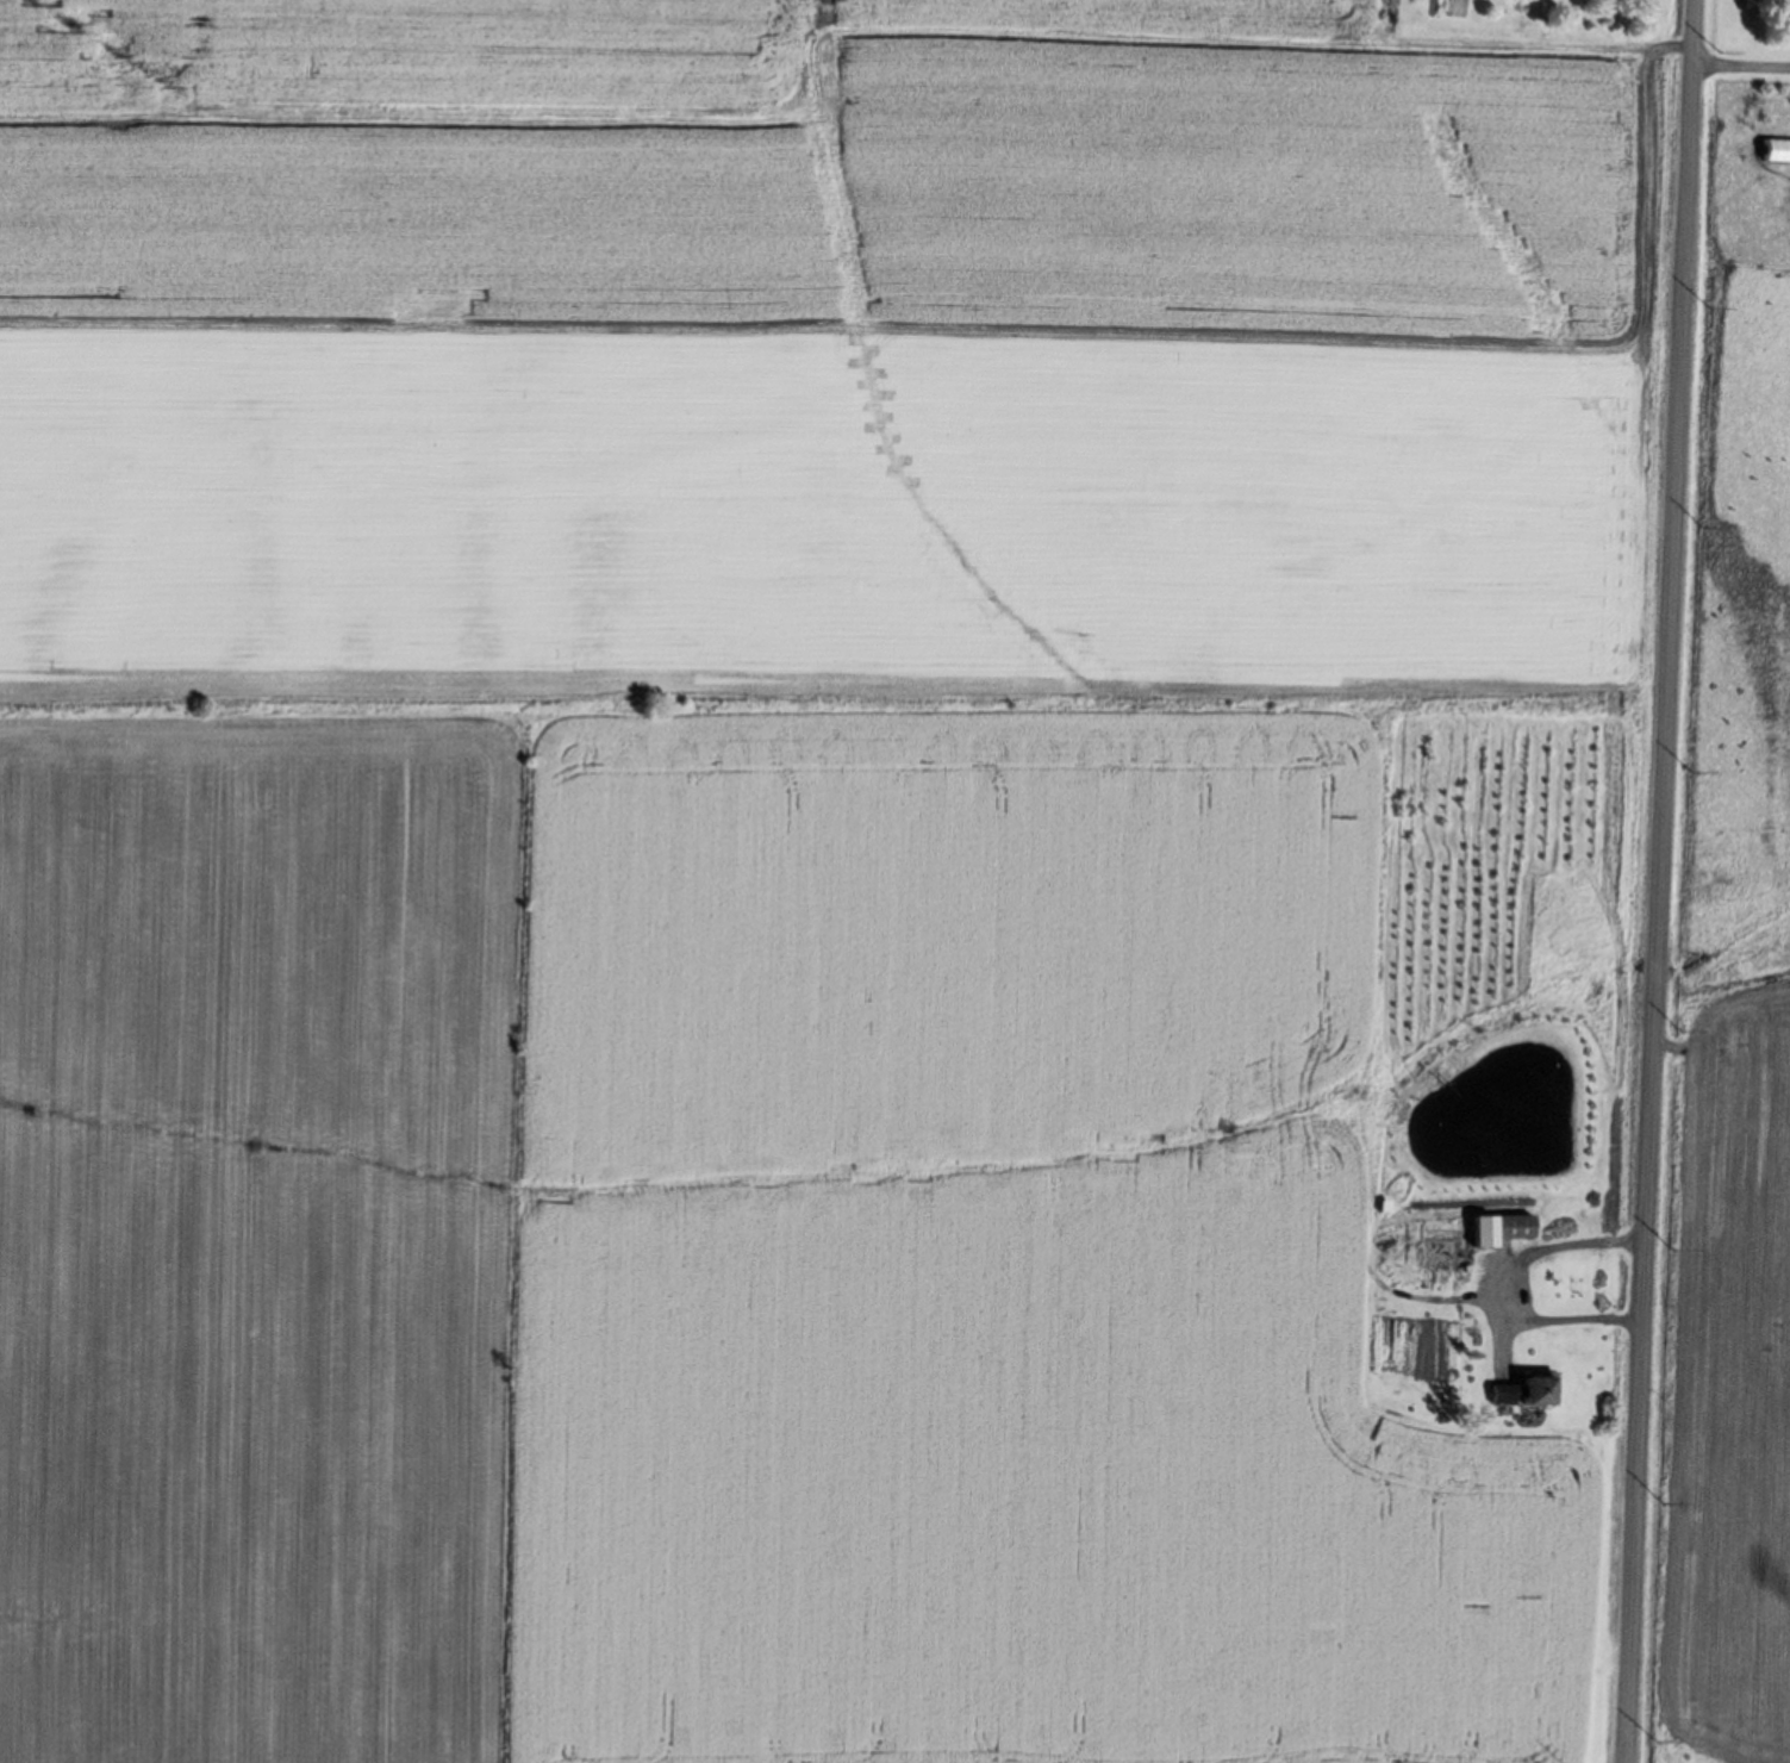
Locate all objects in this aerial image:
building: (1777, 149)
road: (1661, 880)
building: (1501, 1227)
building: (1528, 1388)

